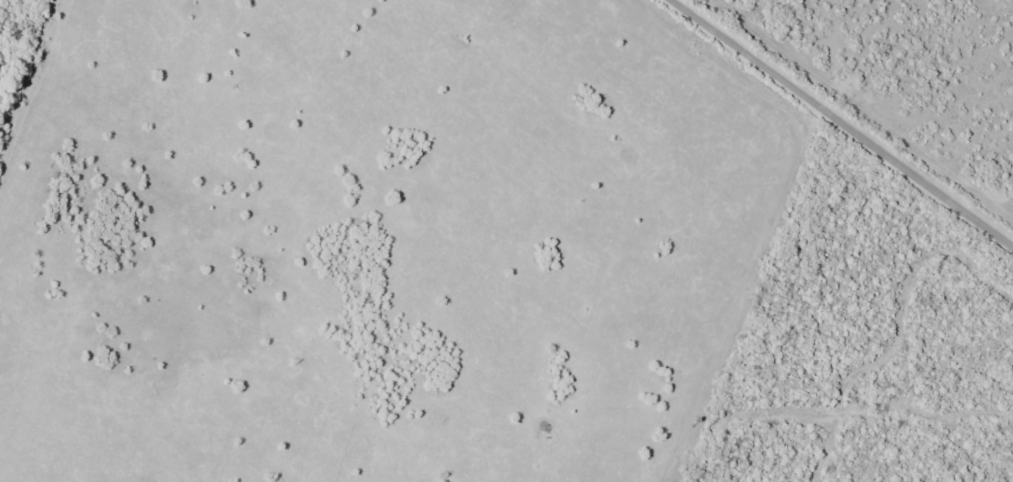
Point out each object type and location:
road: (840, 125)

